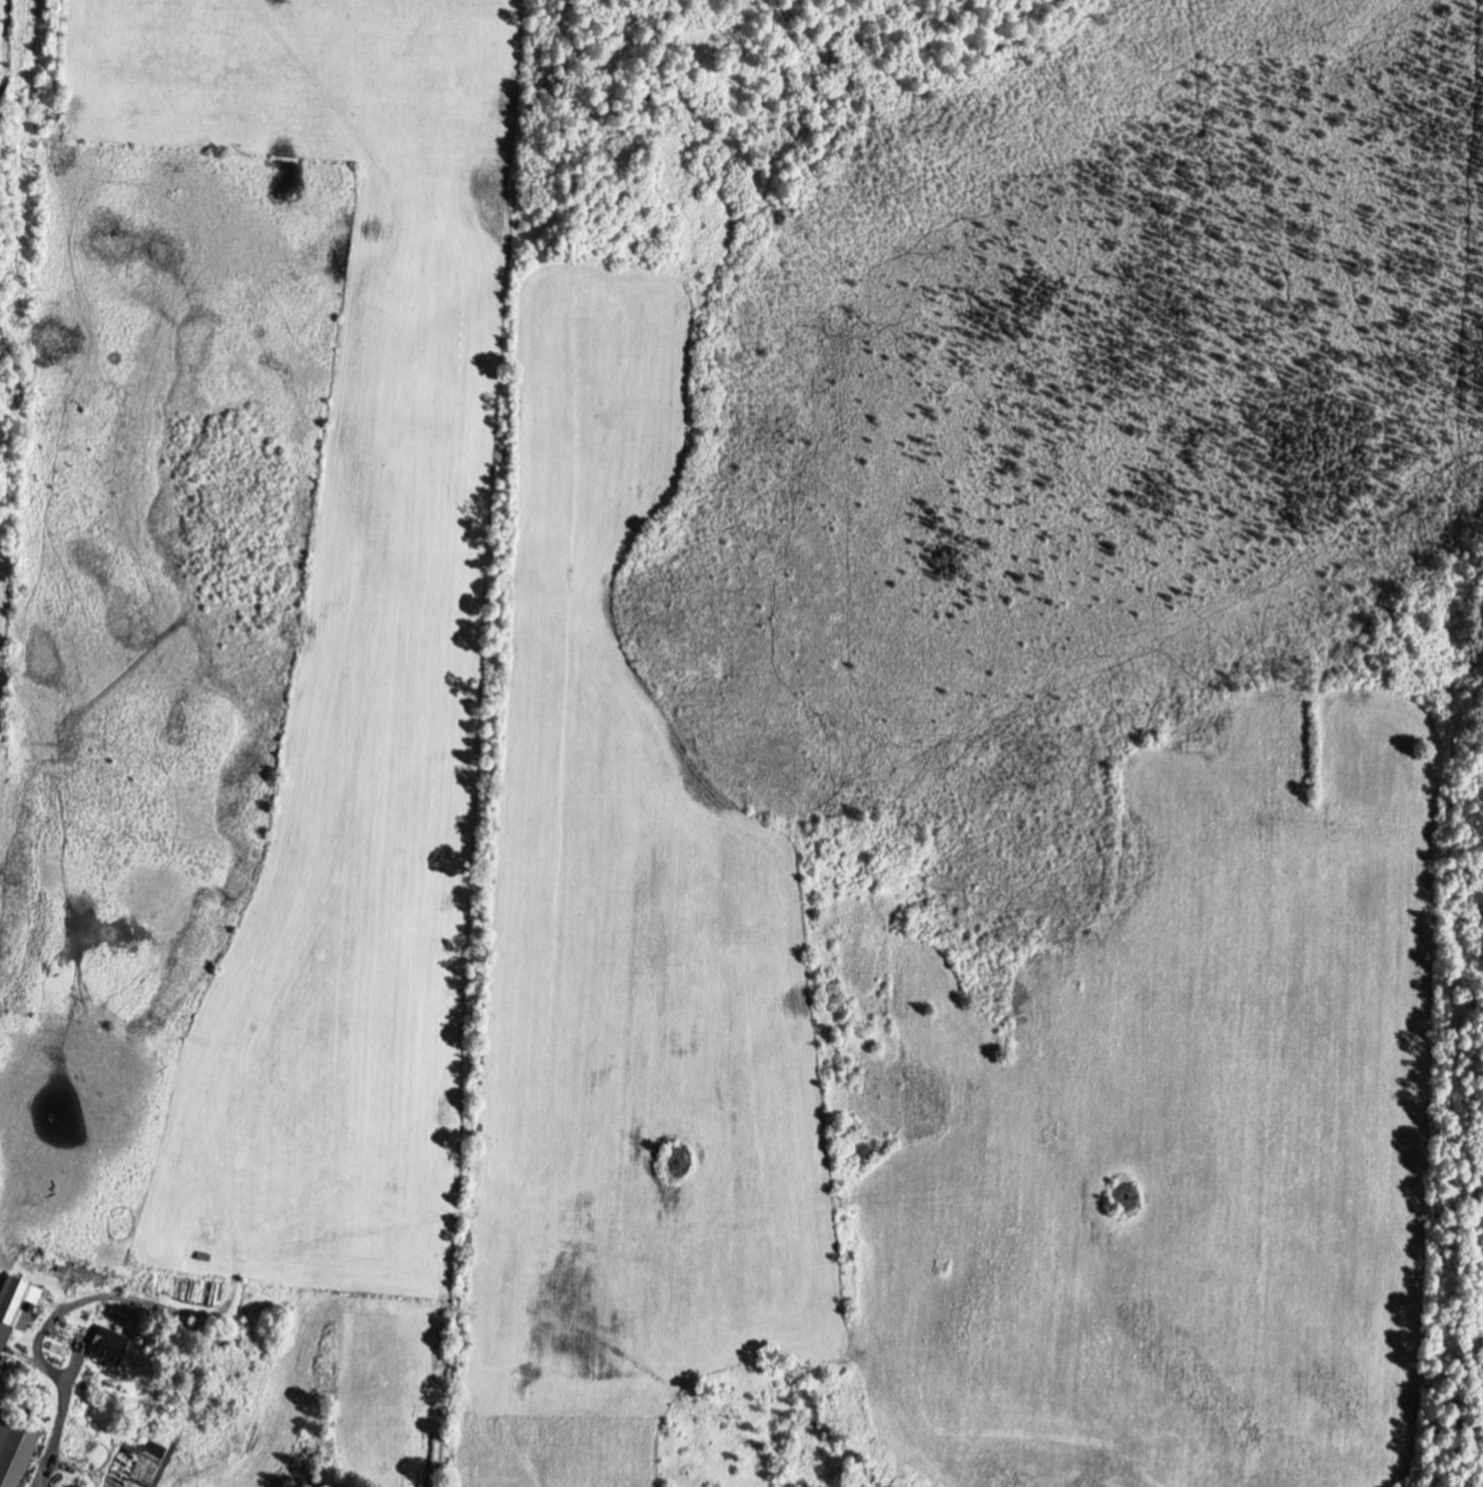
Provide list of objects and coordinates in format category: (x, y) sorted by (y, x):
building: (15, 1304)
building: (109, 1339)
building: (14, 1446)

